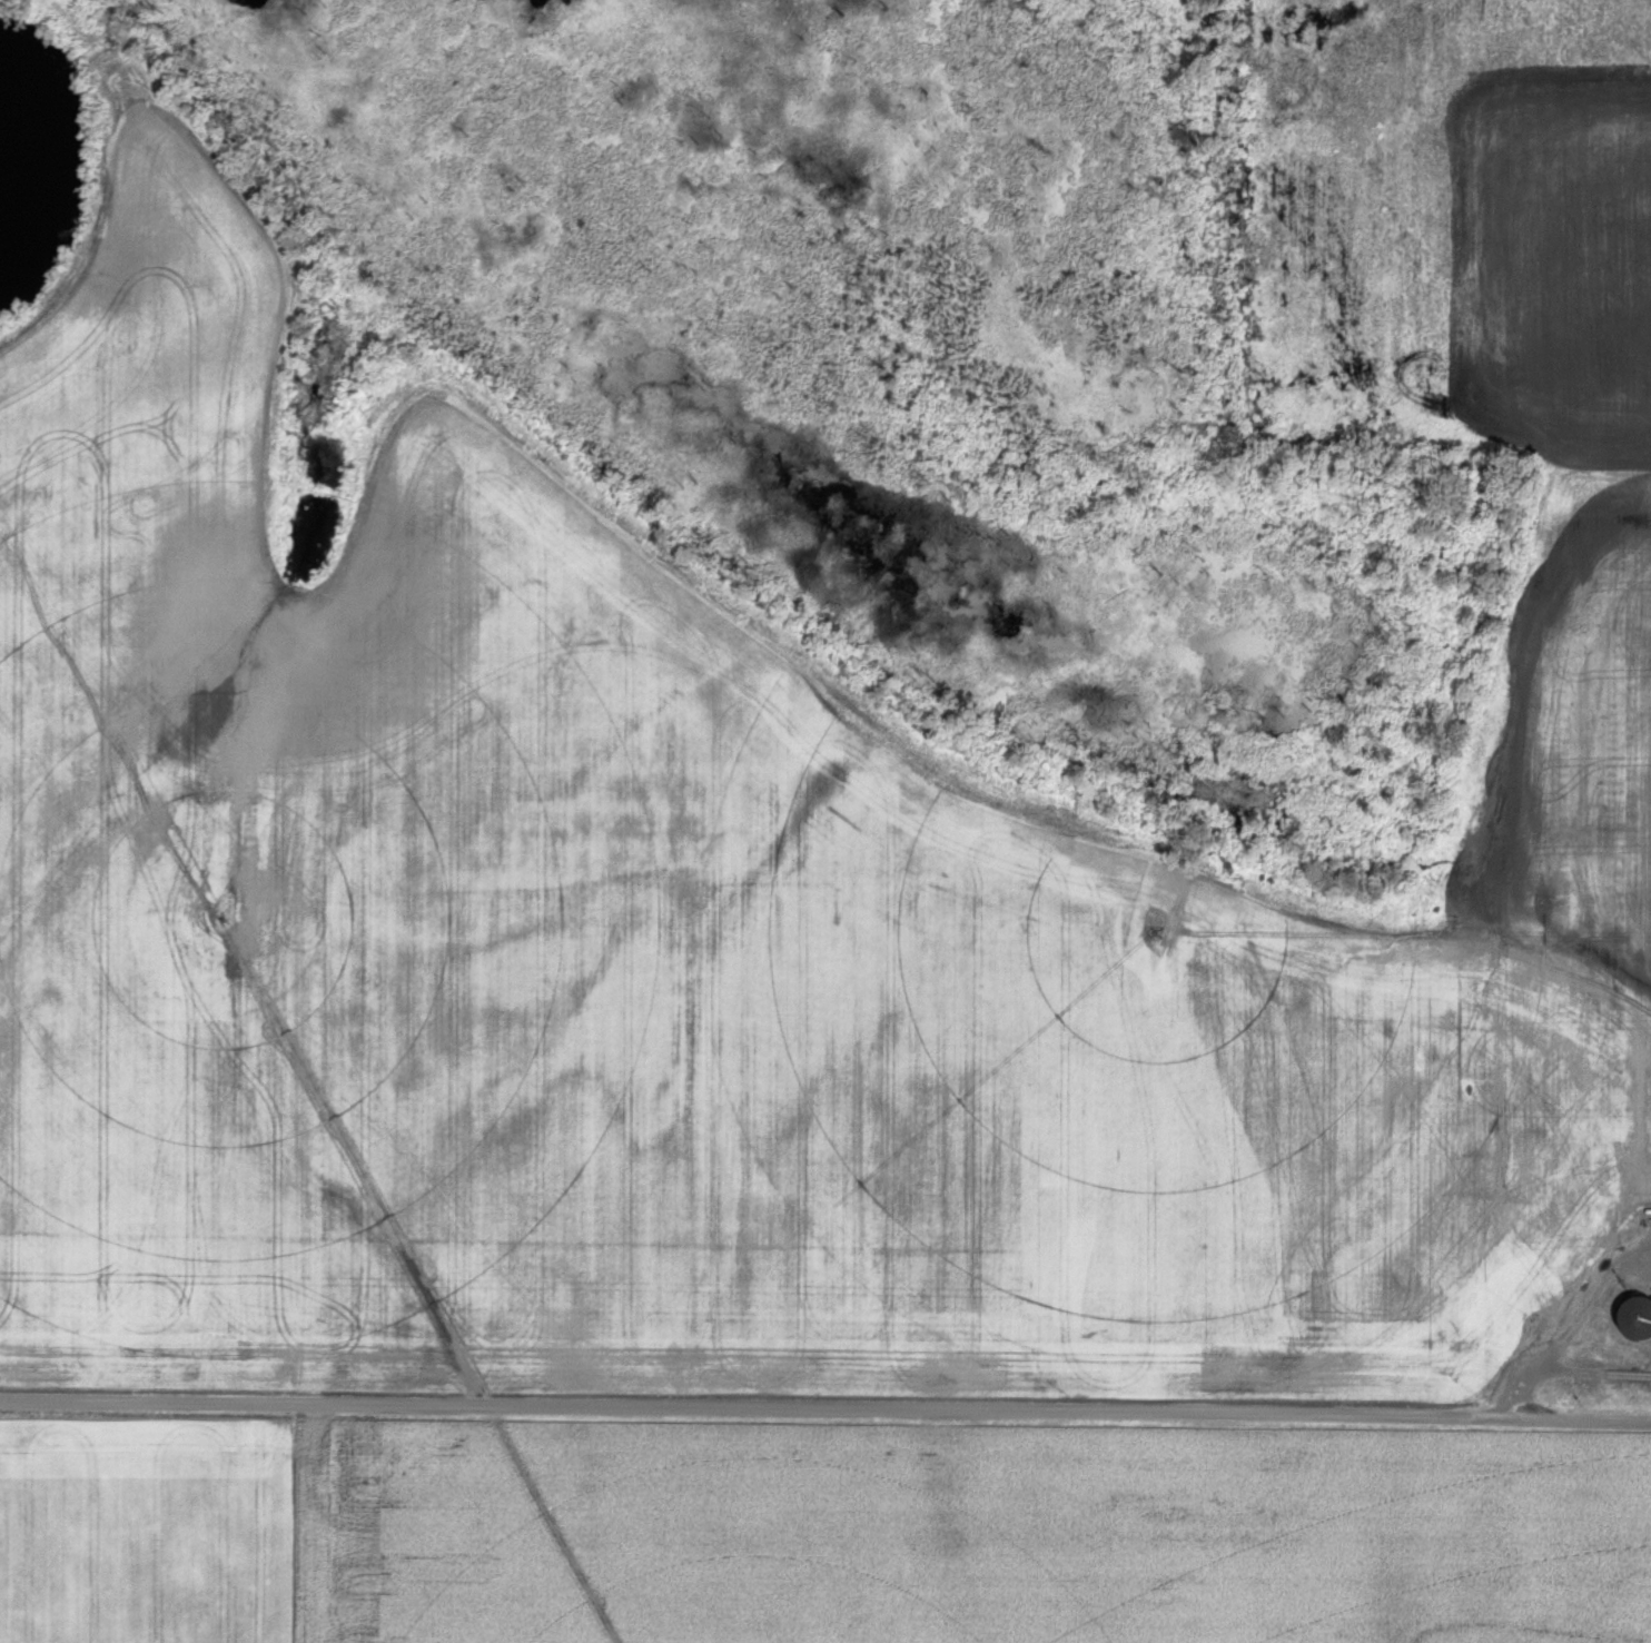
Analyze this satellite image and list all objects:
road: (1566, 1373)
road: (825, 1409)

